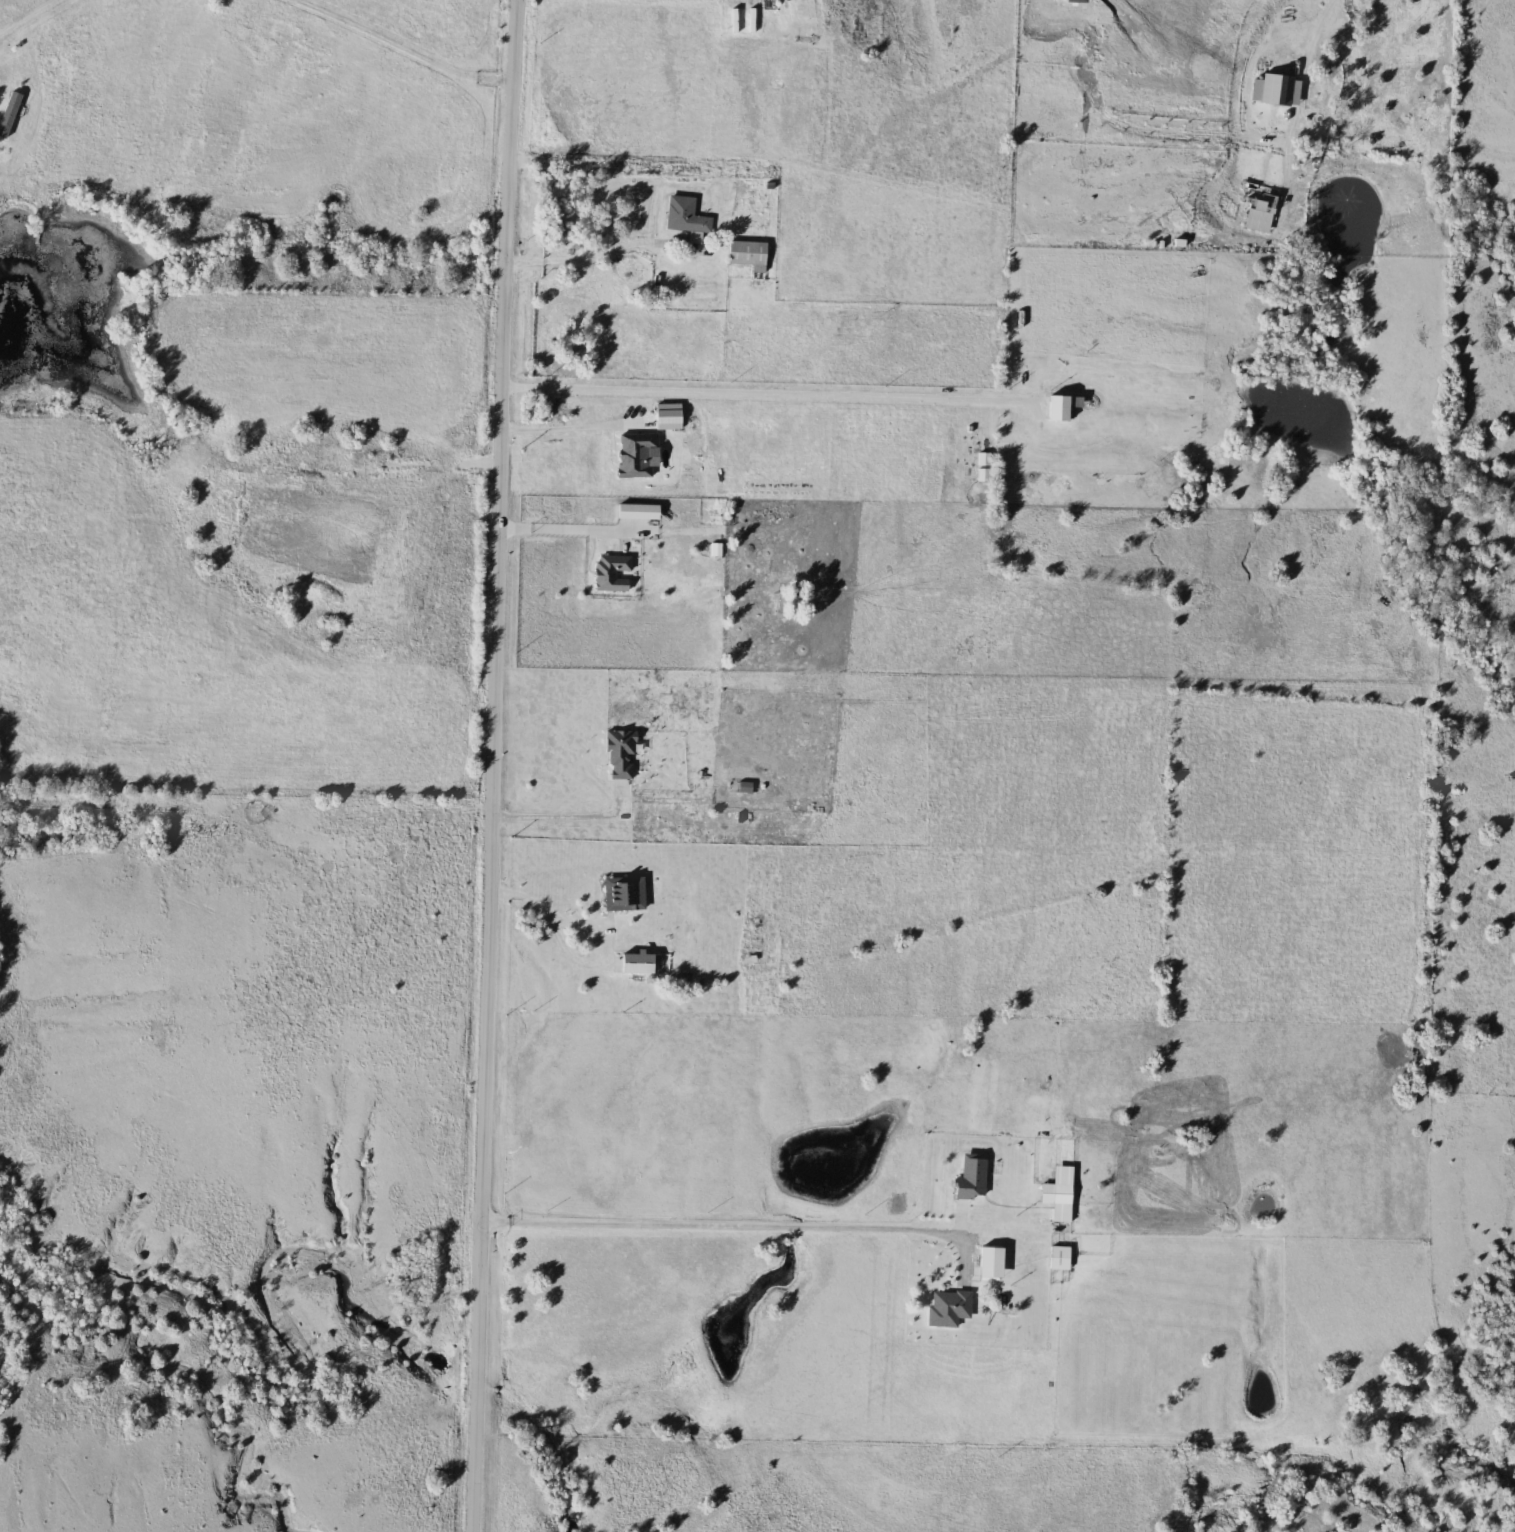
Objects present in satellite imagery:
road: (31, 20)
road: (1314, 22)
road: (402, 46)
building: (8, 110)
building: (685, 217)
building: (744, 254)
road: (591, 255)
road: (258, 279)
road: (766, 397)
building: (1055, 409)
road: (567, 428)
road: (570, 530)
building: (608, 574)
building: (792, 601)
road: (490, 765)
road: (563, 815)
building: (621, 894)
road: (544, 909)
building: (744, 962)
building: (632, 964)
building: (968, 1178)
building: (1059, 1195)
road: (713, 1225)
building: (1056, 1257)
building: (986, 1262)
building: (946, 1308)

